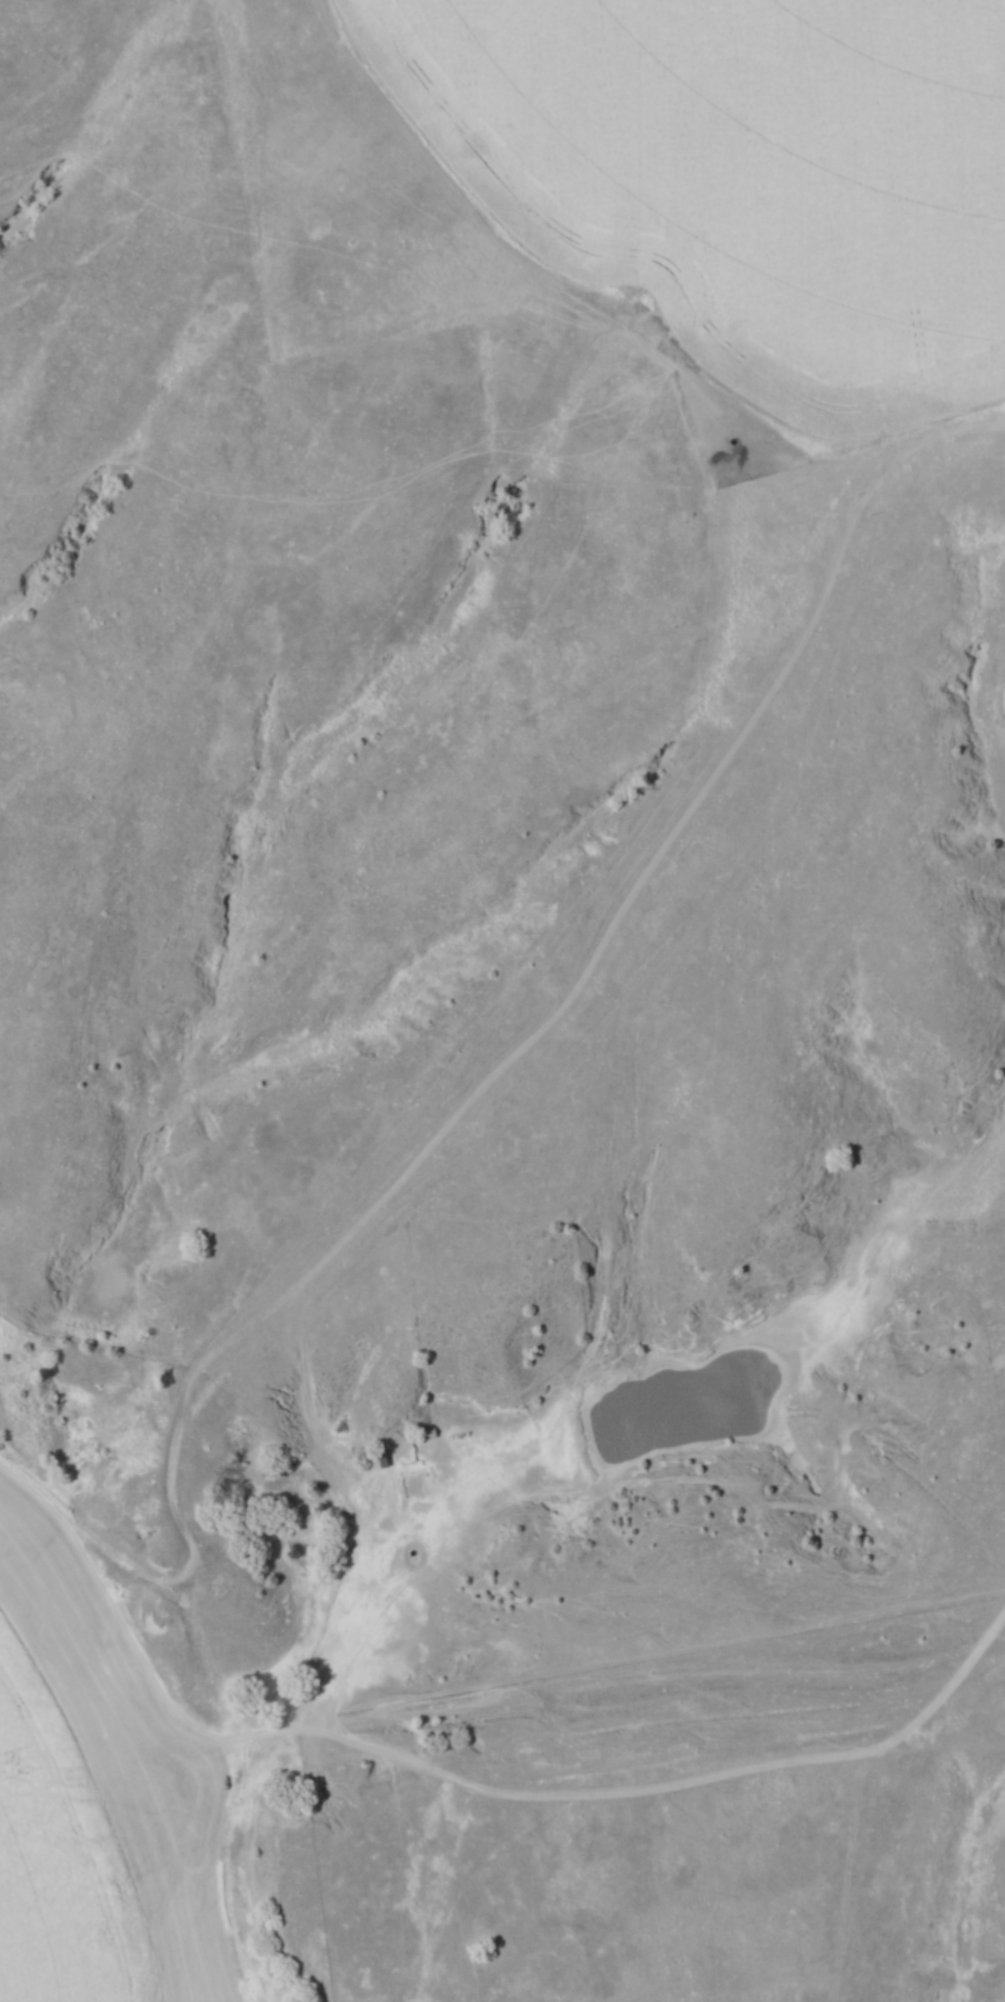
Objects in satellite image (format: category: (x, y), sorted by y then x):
crop: (747, 172)
building: (991, 411)
building: (351, 1440)
building: (376, 1459)
building: (365, 1500)
crop: (122, 1761)
crop: (54, 1864)

